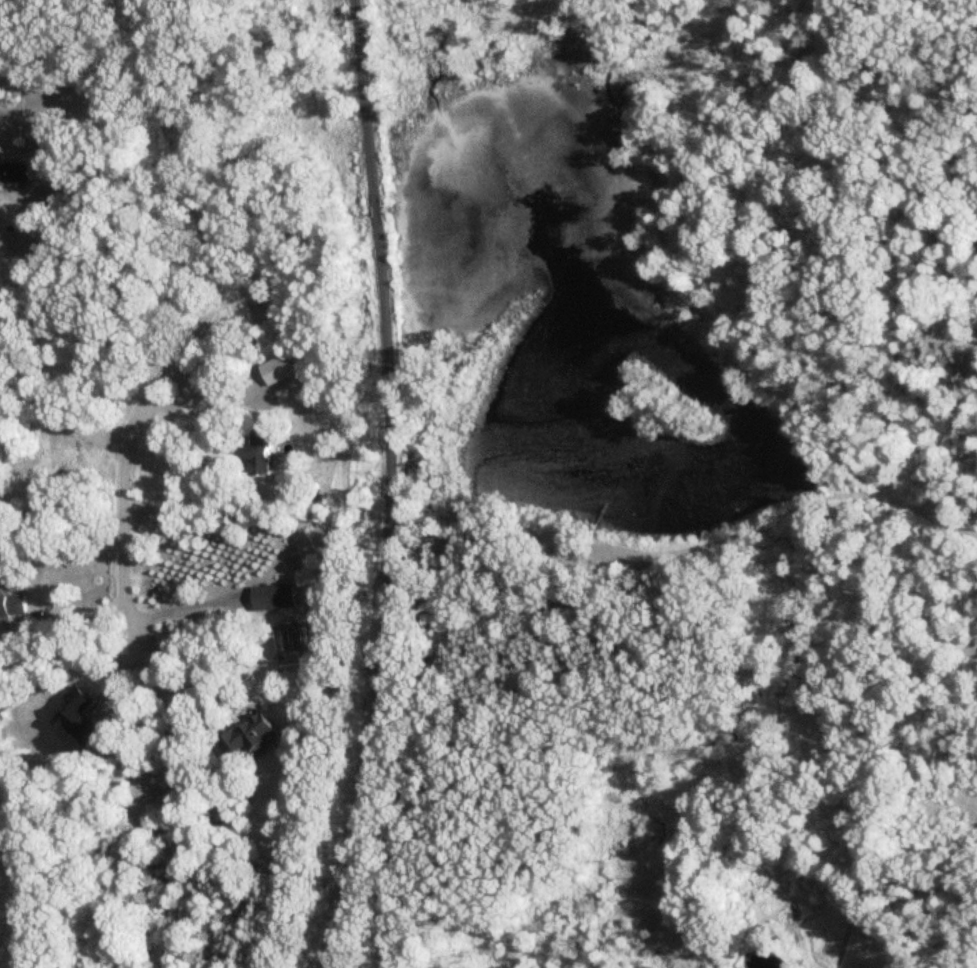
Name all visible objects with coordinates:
building: (15, 173)
road: (191, 327)
road: (211, 394)
building: (259, 449)
road: (391, 486)
building: (274, 597)
building: (12, 606)
road: (190, 606)
road: (180, 686)
building: (247, 733)

